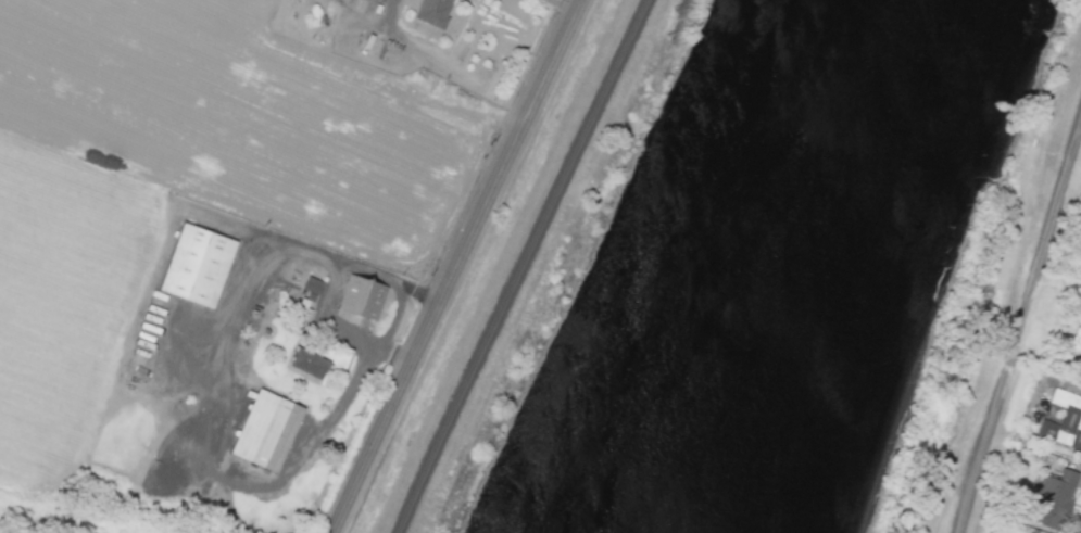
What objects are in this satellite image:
road: (563, 4)
building: (432, 11)
road: (445, 65)
crop: (232, 113)
building: (198, 265)
river: (775, 265)
road: (454, 266)
road: (518, 266)
building: (312, 284)
crop: (58, 296)
building: (362, 296)
road: (1019, 325)
road: (391, 353)
building: (307, 363)
road: (203, 417)
building: (1064, 420)
building: (265, 431)
building: (1053, 499)

